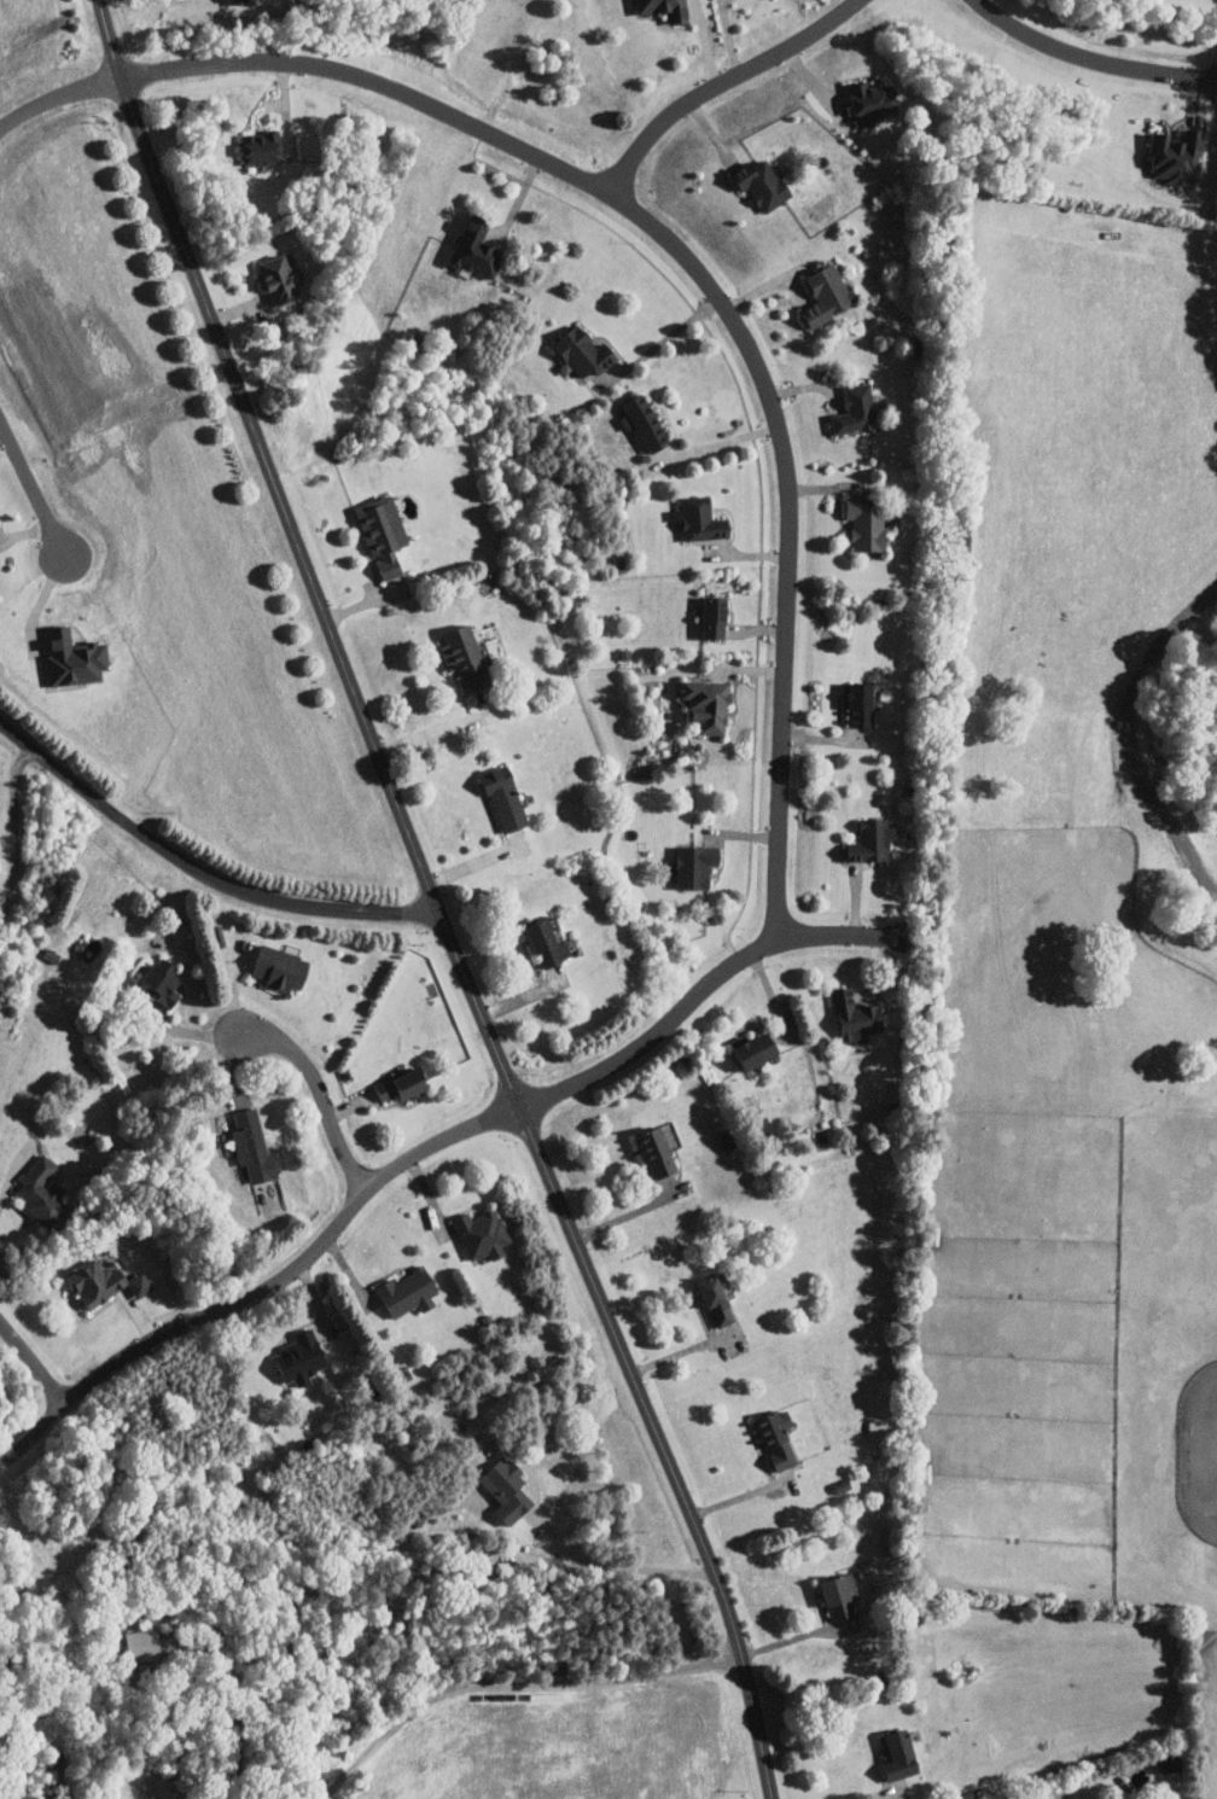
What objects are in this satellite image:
building: (664, 10)
road: (1097, 65)
road: (728, 83)
road: (56, 94)
building: (874, 101)
building: (261, 147)
building: (1176, 156)
building: (762, 184)
building: (477, 248)
building: (279, 276)
road: (714, 295)
building: (828, 295)
road: (668, 338)
building: (584, 350)
building: (857, 411)
building: (645, 421)
road: (715, 444)
road: (33, 485)
building: (701, 519)
building: (866, 524)
building: (383, 534)
building: (715, 617)
building: (74, 658)
building: (708, 704)
building: (861, 704)
road: (433, 728)
building: (505, 798)
road: (14, 821)
building: (873, 840)
building: (697, 866)
road: (199, 871)
road: (435, 899)
building: (549, 942)
building: (281, 970)
building: (161, 982)
building: (856, 1017)
building: (756, 1050)
building: (403, 1084)
road: (318, 1091)
building: (252, 1147)
road: (424, 1152)
building: (657, 1153)
road: (10, 1174)
building: (42, 1192)
building: (482, 1235)
building: (105, 1283)
building: (408, 1292)
building: (718, 1298)
road: (683, 1350)
building: (301, 1358)
road: (33, 1364)
building: (877, 1427)
building: (778, 1438)
building: (507, 1490)
road: (615, 1566)
building: (840, 1596)
building: (141, 1646)
road: (511, 1682)
road: (233, 1705)
building: (899, 1756)
road: (875, 1795)

